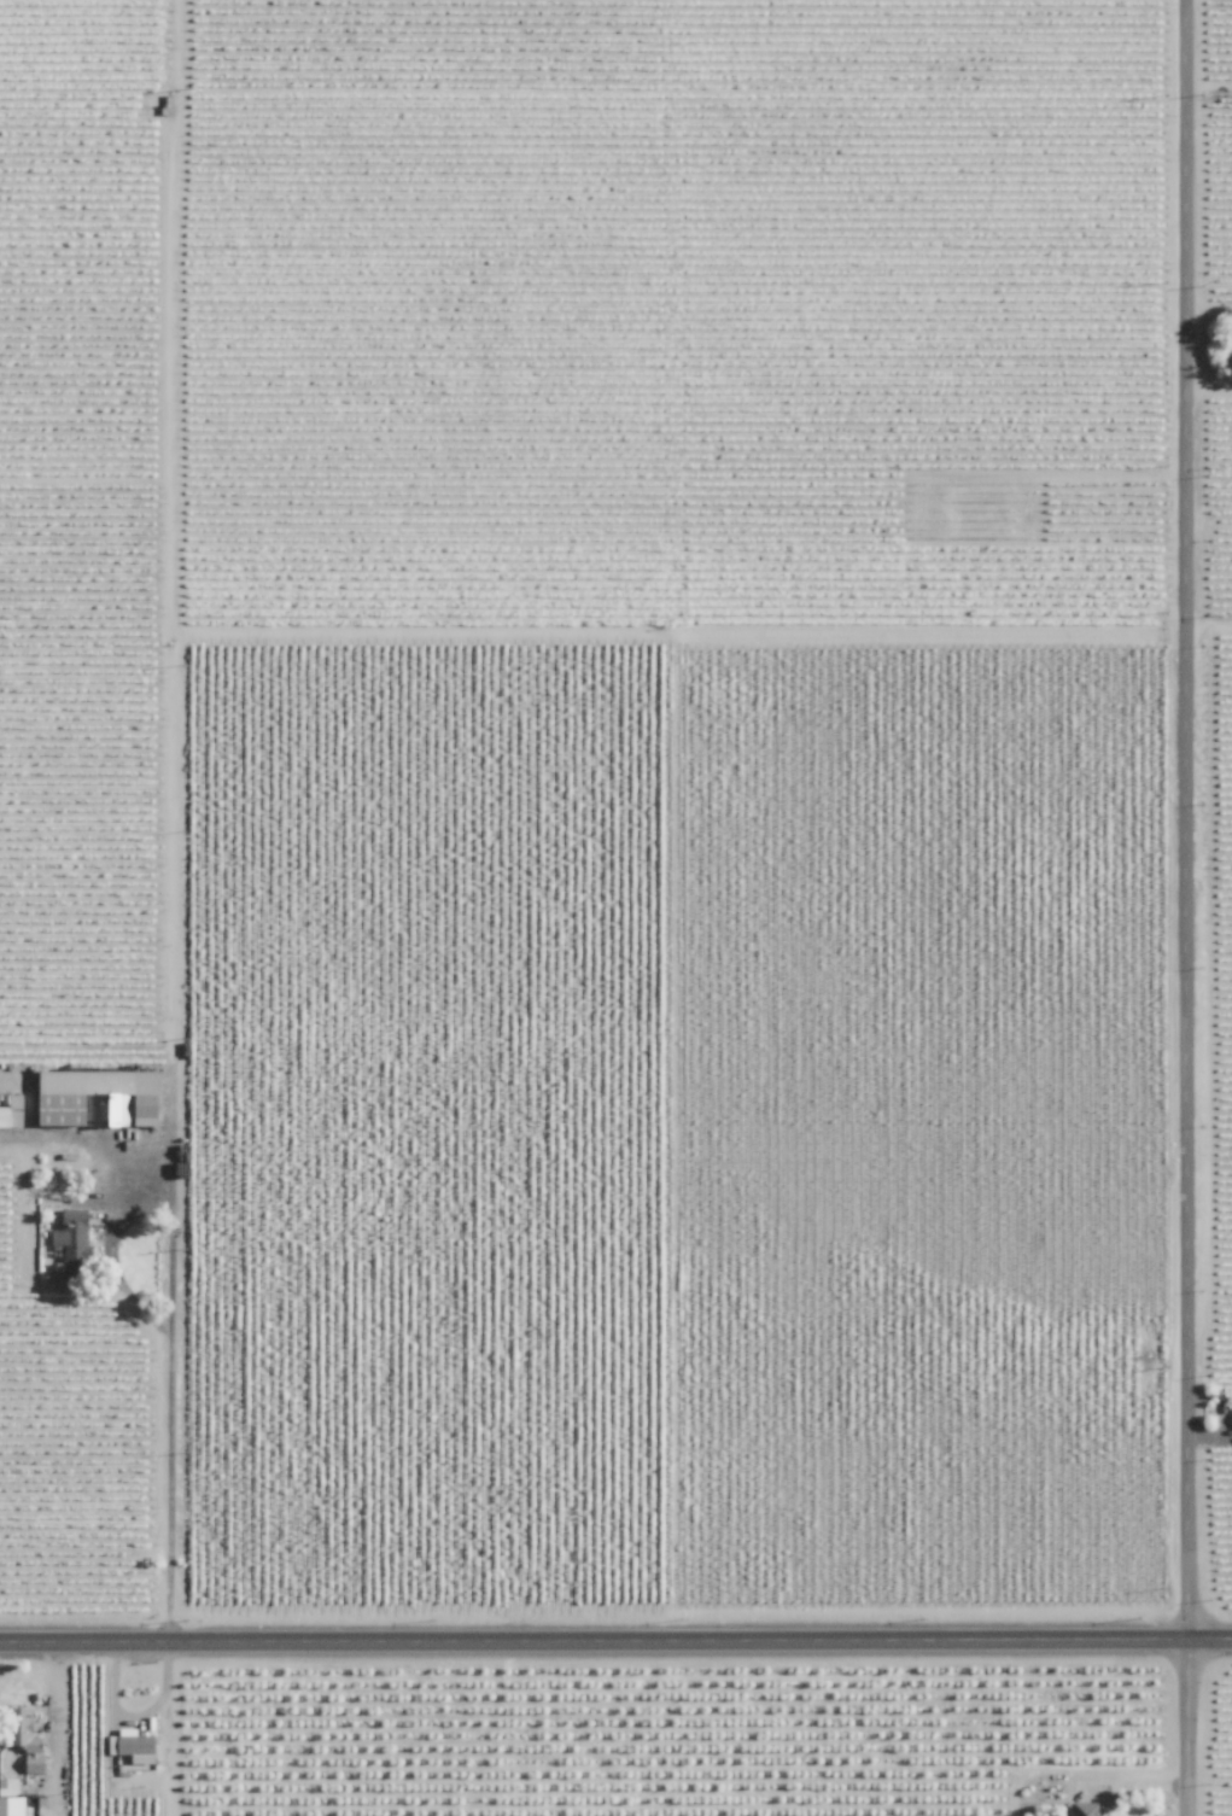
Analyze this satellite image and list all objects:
road: (1209, 384)
road: (1209, 525)
road: (1209, 625)
road: (1189, 907)
building: (135, 1105)
building: (77, 1260)
road: (170, 1326)
road: (615, 1646)
building: (31, 1745)
road: (1134, 1785)
building: (1086, 1809)

